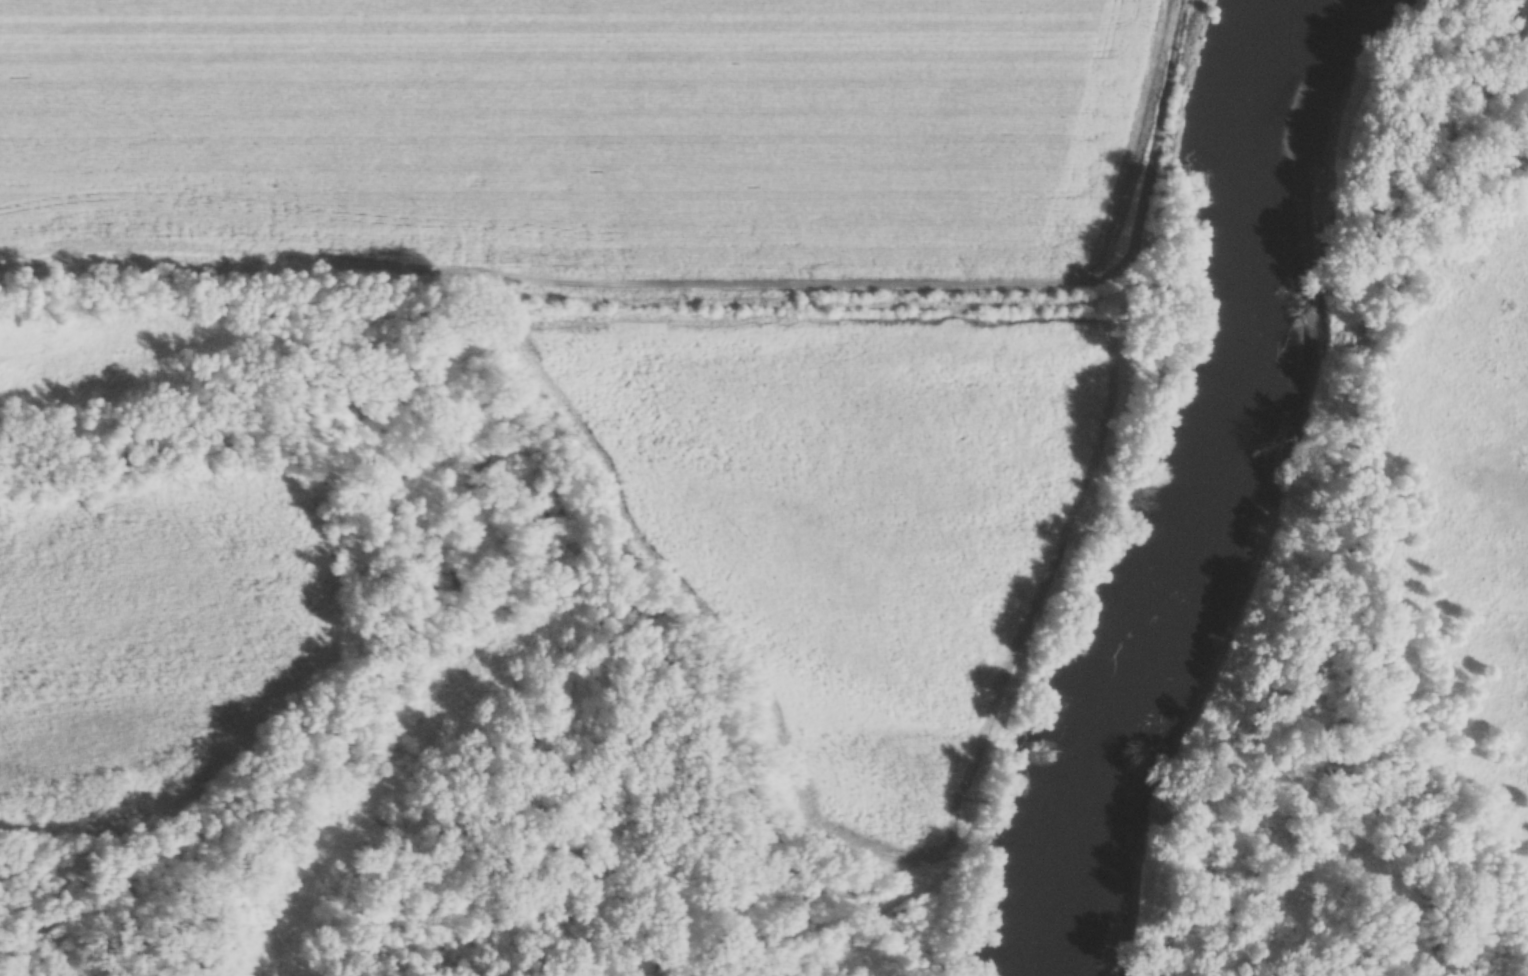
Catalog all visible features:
river: (1204, 492)

